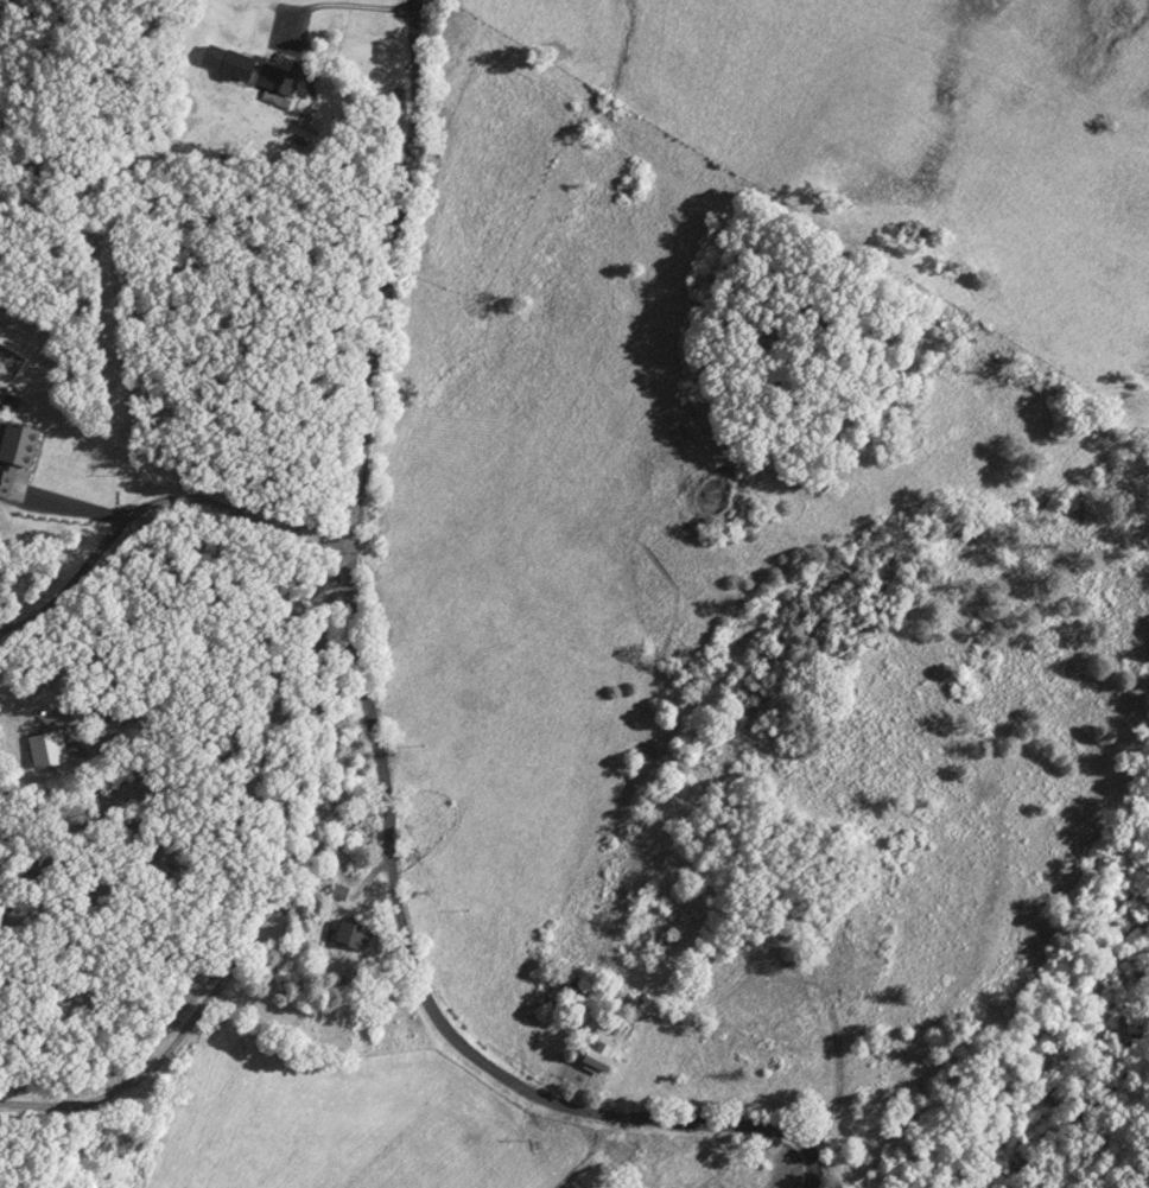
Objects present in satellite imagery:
building: (253, 70)
building: (21, 443)
road: (159, 519)
road: (395, 694)
building: (343, 892)
building: (360, 935)
building: (604, 1057)

